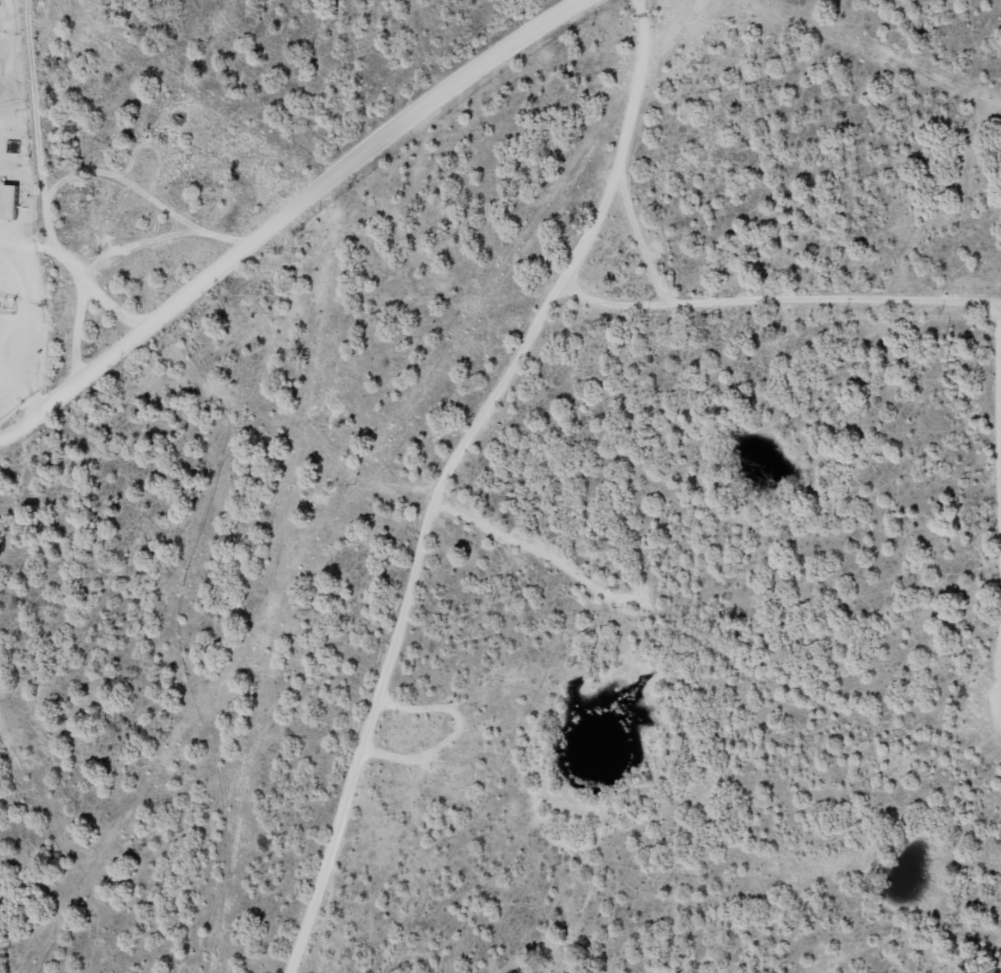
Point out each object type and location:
road: (641, 13)
building: (8, 203)
road: (314, 223)

